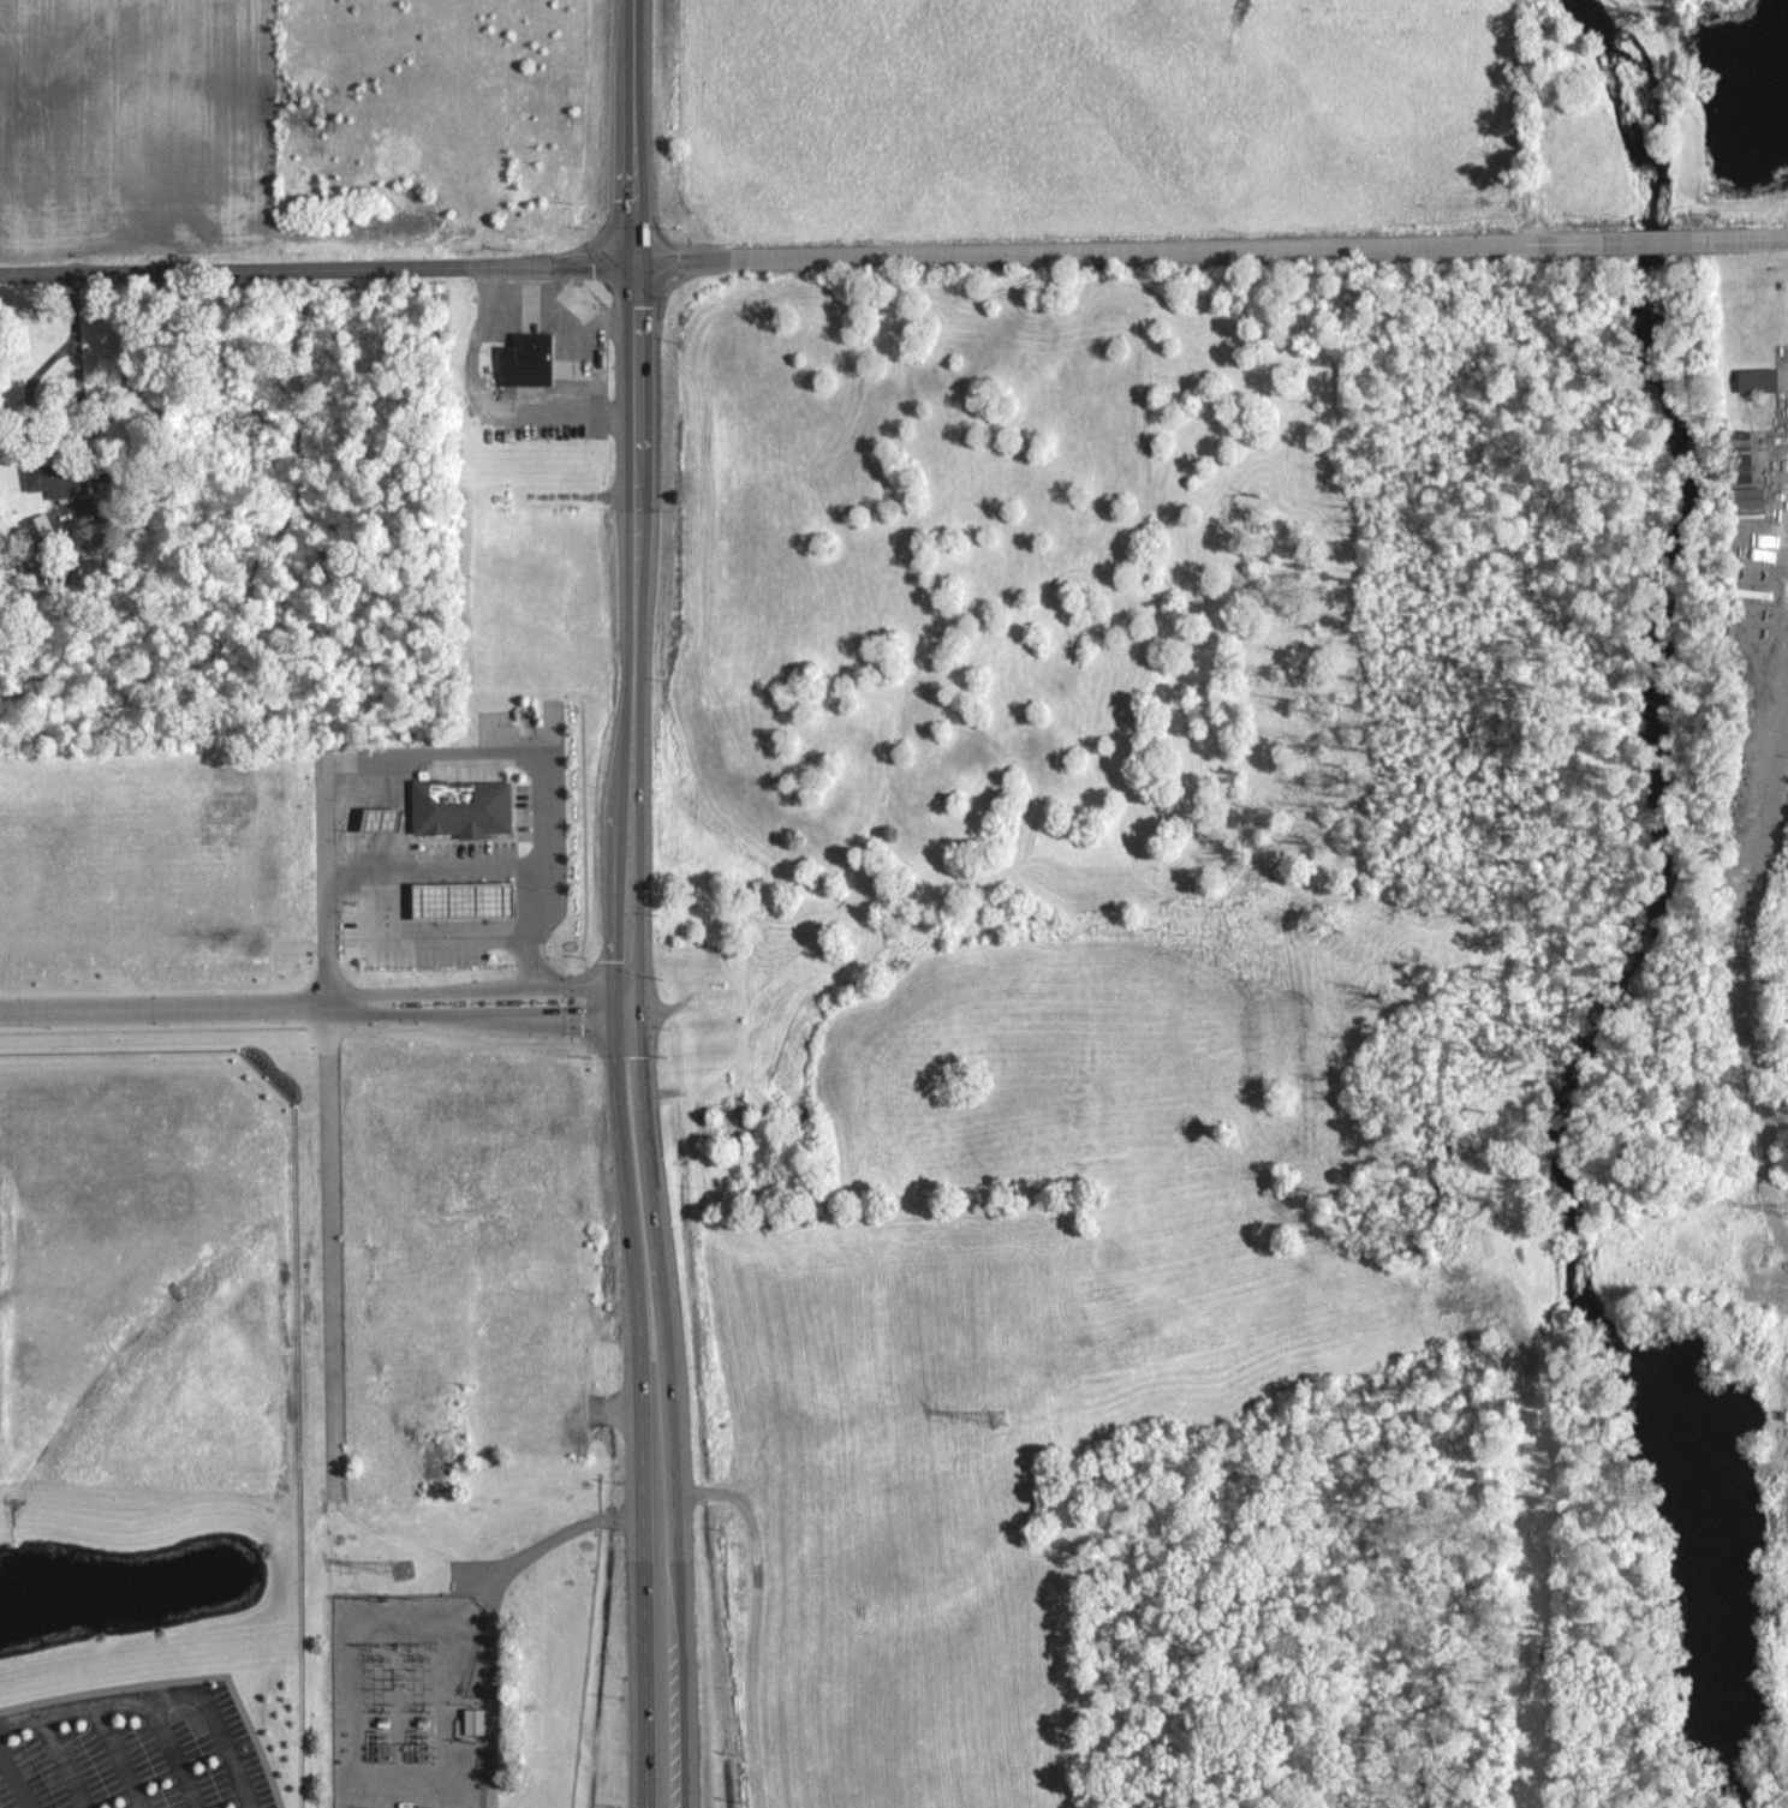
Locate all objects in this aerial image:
road: (633, 130)
road: (1746, 238)
road: (1614, 240)
road: (762, 258)
road: (571, 318)
road: (604, 320)
road: (79, 354)
building: (542, 354)
building: (1756, 380)
road: (487, 407)
building: (1739, 455)
building: (1745, 497)
road: (634, 724)
road: (524, 756)
building: (466, 804)
road: (461, 866)
building: (469, 899)
gas station: (469, 899)
road: (399, 932)
road: (528, 959)
road: (488, 987)
traffic signals: (636, 998)
road: (334, 1001)
road: (163, 1006)
road: (479, 1015)
road: (328, 1128)
power tower: (999, 1414)
road: (643, 1497)
road: (674, 1497)
power tower: (405, 1568)
road: (756, 1619)
power substation: (409, 1701)
road: (78, 1706)
road: (207, 1712)
building: (471, 1720)
parking lot: (95, 1753)
road: (117, 1755)
road: (178, 1759)
road: (64, 1760)
road: (16, 1776)

